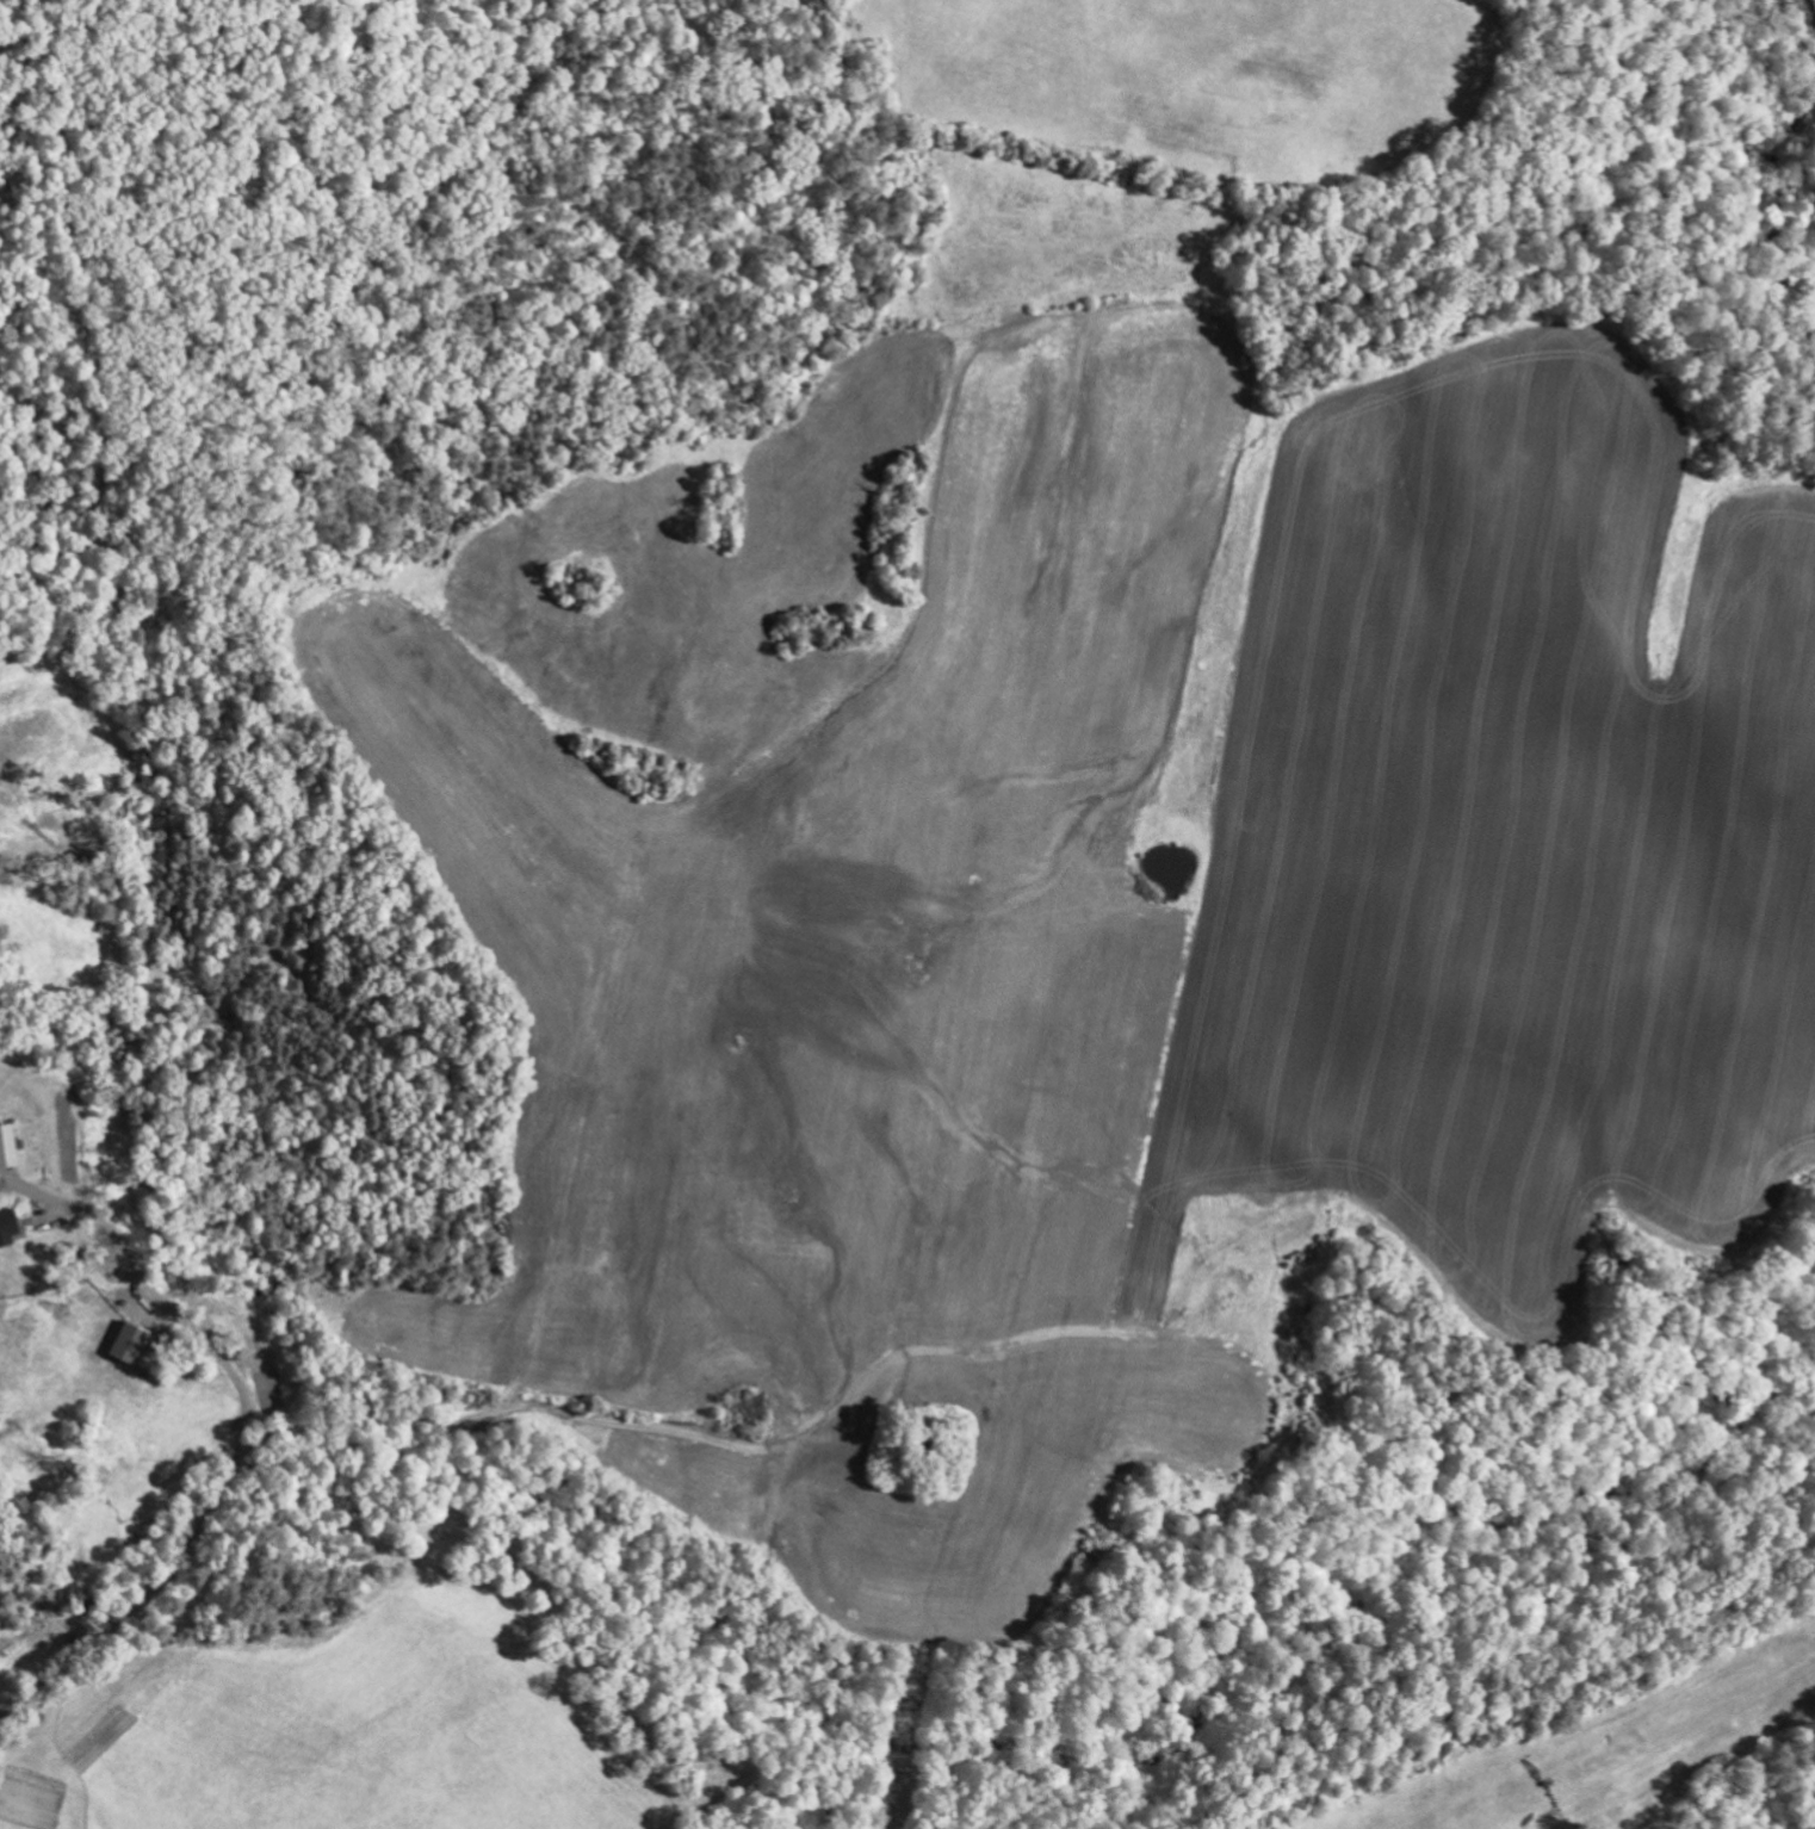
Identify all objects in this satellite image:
building: (10, 1146)
building: (130, 1343)
road: (0, 1697)

